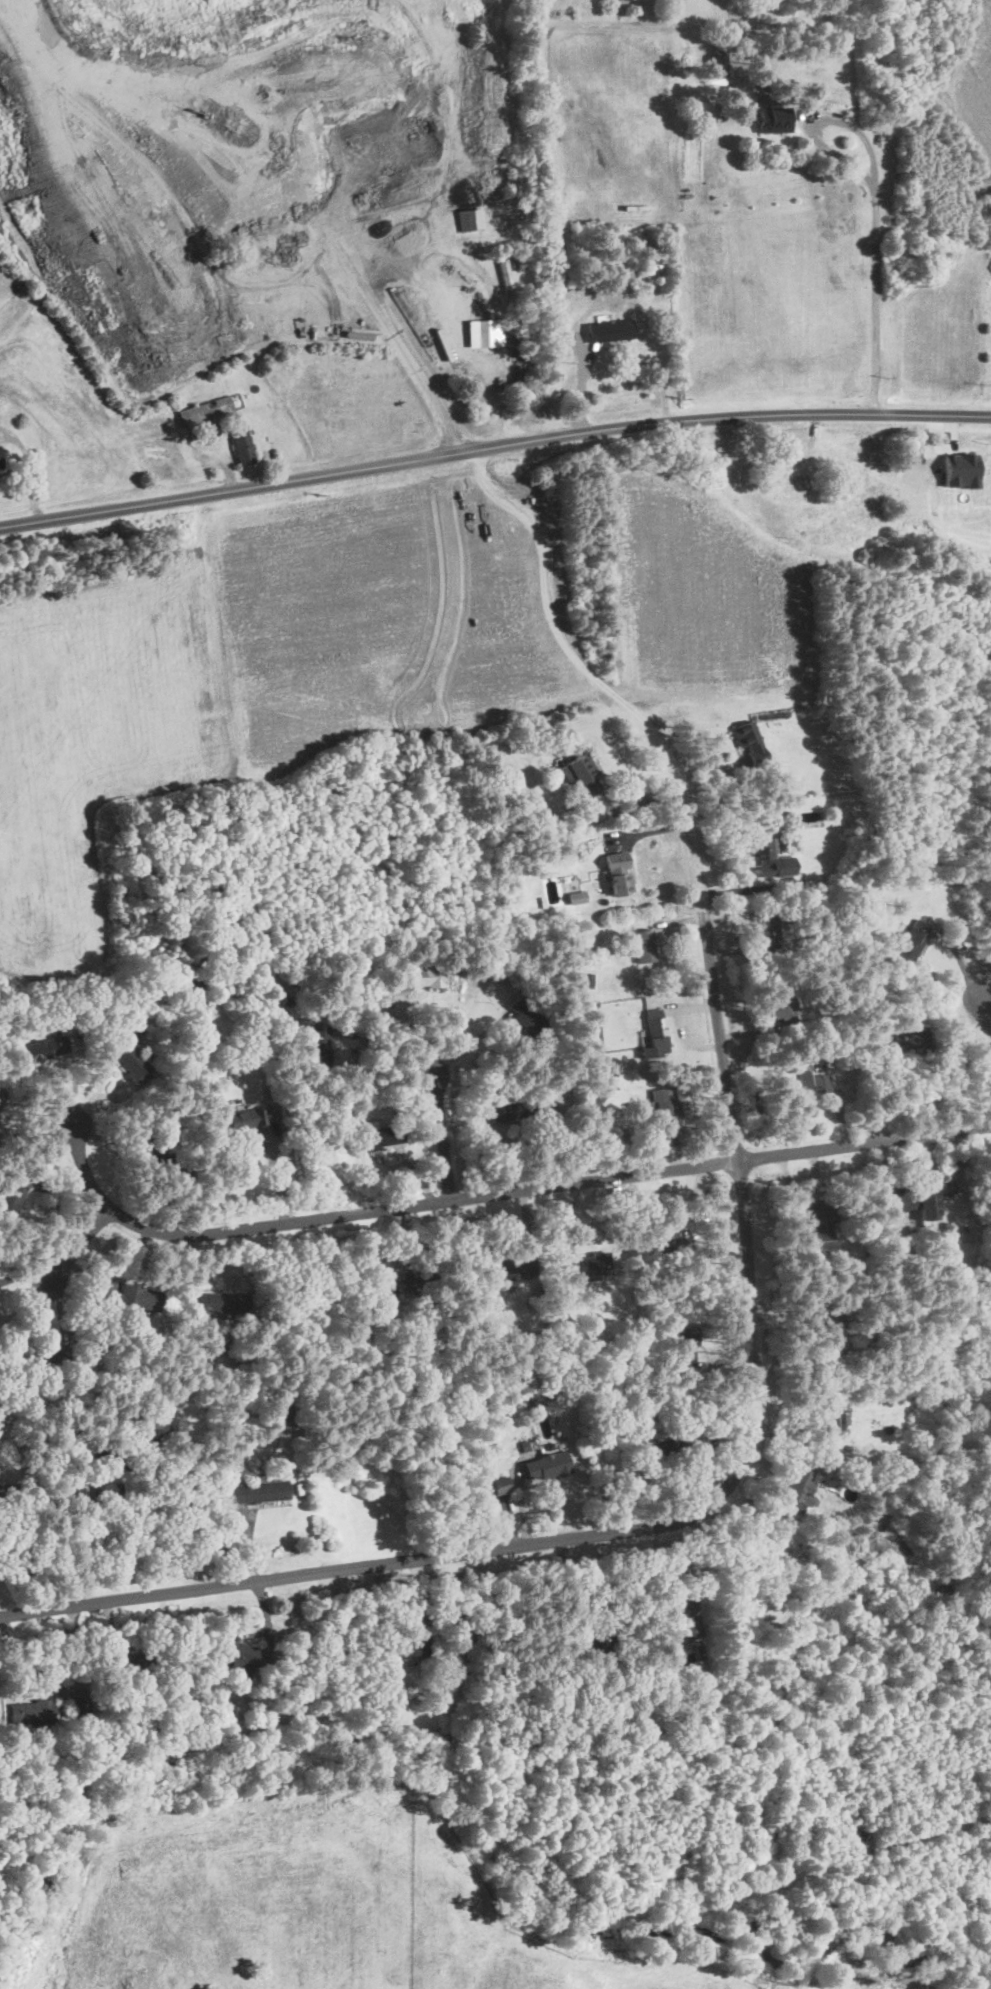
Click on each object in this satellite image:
building: (630, 0)
road: (622, 26)
building: (720, 64)
road: (821, 120)
building: (774, 121)
building: (515, 218)
road: (560, 218)
building: (473, 220)
building: (522, 244)
building: (652, 269)
building: (507, 276)
road: (876, 299)
building: (208, 306)
building: (611, 332)
building: (486, 334)
road: (395, 335)
road: (452, 337)
building: (207, 412)
building: (196, 436)
building: (0, 443)
building: (244, 445)
road: (493, 446)
building: (1, 463)
building: (961, 470)
building: (791, 488)
road: (454, 591)
road: (588, 669)
building: (749, 742)
building: (582, 775)
building: (771, 860)
building: (619, 875)
building: (801, 893)
building: (579, 899)
building: (770, 929)
building: (582, 939)
building: (913, 941)
building: (646, 947)
building: (865, 950)
building: (416, 959)
building: (356, 965)
building: (416, 979)
building: (588, 982)
building: (202, 983)
building: (189, 992)
building: (867, 998)
building: (285, 1001)
building: (167, 1003)
building: (784, 1013)
building: (529, 1020)
building: (73, 1021)
building: (161, 1021)
building: (82, 1031)
building: (656, 1036)
building: (143, 1038)
road: (985, 1040)
building: (905, 1041)
road: (469, 1046)
building: (320, 1047)
building: (48, 1051)
road: (382, 1051)
building: (841, 1051)
building: (131, 1054)
building: (574, 1074)
building: (813, 1086)
building: (1, 1096)
building: (366, 1096)
building: (523, 1108)
building: (758, 1108)
building: (668, 1111)
building: (246, 1121)
building: (377, 1137)
road: (441, 1137)
building: (479, 1141)
building: (160, 1157)
road: (502, 1192)
building: (12, 1199)
building: (911, 1202)
building: (863, 1223)
building: (823, 1224)
road: (82, 1244)
building: (669, 1248)
building: (911, 1255)
building: (589, 1267)
building: (514, 1268)
building: (414, 1281)
building: (814, 1286)
building: (387, 1292)
building: (132, 1299)
building: (223, 1304)
building: (927, 1307)
building: (485, 1331)
building: (828, 1333)
building: (229, 1345)
building: (687, 1346)
building: (50, 1360)
building: (659, 1376)
building: (557, 1388)
building: (539, 1405)
building: (285, 1411)
building: (11, 1418)
building: (831, 1419)
building: (149, 1425)
building: (609, 1425)
building: (798, 1427)
building: (682, 1430)
building: (526, 1447)
building: (664, 1450)
road: (116, 1453)
road: (749, 1466)
building: (549, 1467)
building: (910, 1470)
building: (886, 1474)
building: (501, 1487)
building: (802, 1490)
building: (259, 1493)
building: (107, 1494)
building: (0, 1496)
road: (559, 1588)
building: (683, 1621)
building: (607, 1642)
building: (407, 1648)
building: (235, 1652)
building: (700, 1652)
building: (136, 1669)
building: (725, 1688)
building: (107, 1692)
building: (78, 1706)
building: (33, 1713)

